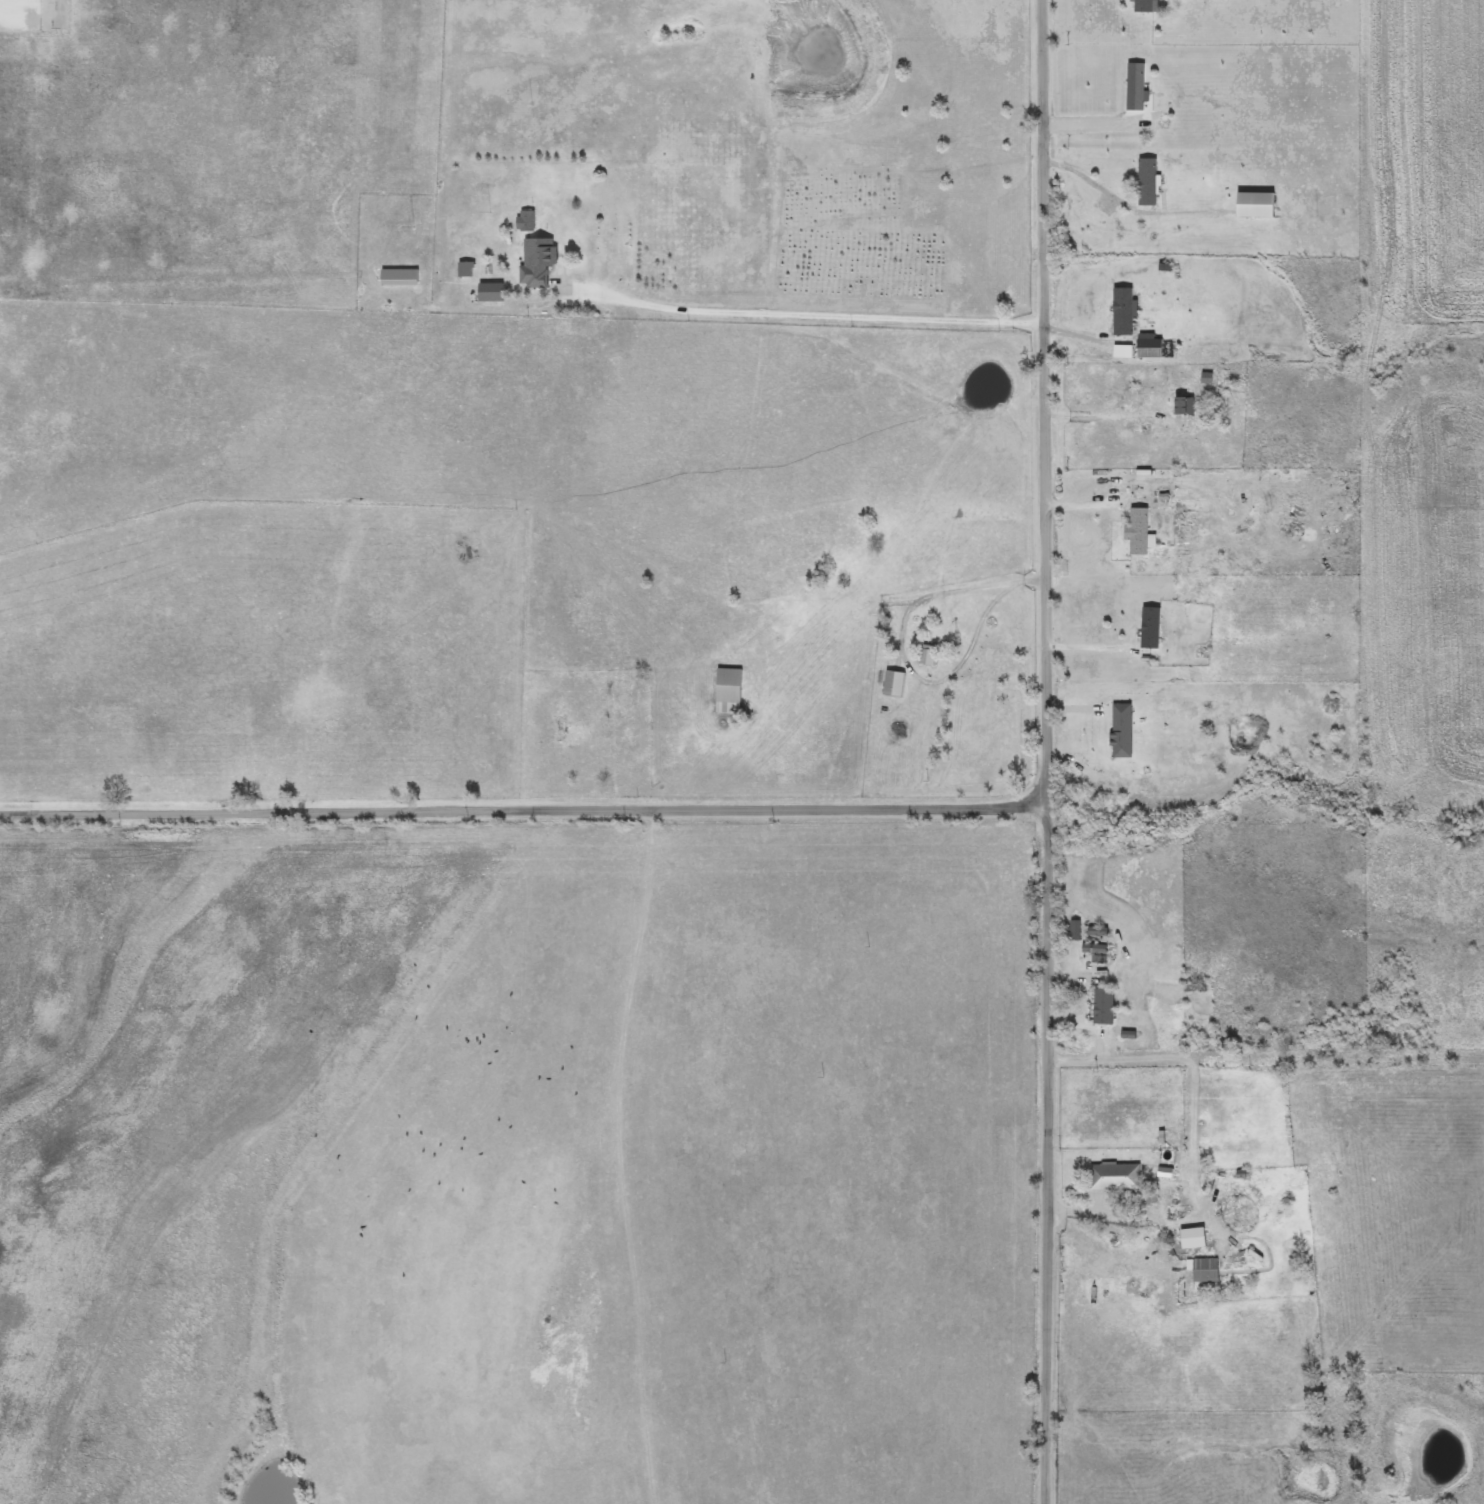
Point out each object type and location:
building: (1139, 6)
building: (1131, 87)
building: (1143, 182)
building: (523, 221)
building: (533, 261)
building: (462, 269)
building: (486, 293)
building: (1119, 312)
road: (826, 316)
building: (1134, 532)
building: (1146, 628)
road: (898, 646)
building: (922, 656)
building: (889, 685)
building: (724, 691)
road: (1048, 752)
road: (524, 814)
road: (1268, 832)
building: (1094, 931)
building: (1091, 953)
building: (1192, 988)
building: (1099, 1007)
road: (1188, 1144)
building: (1111, 1177)
building: (1146, 1220)
building: (1200, 1270)

